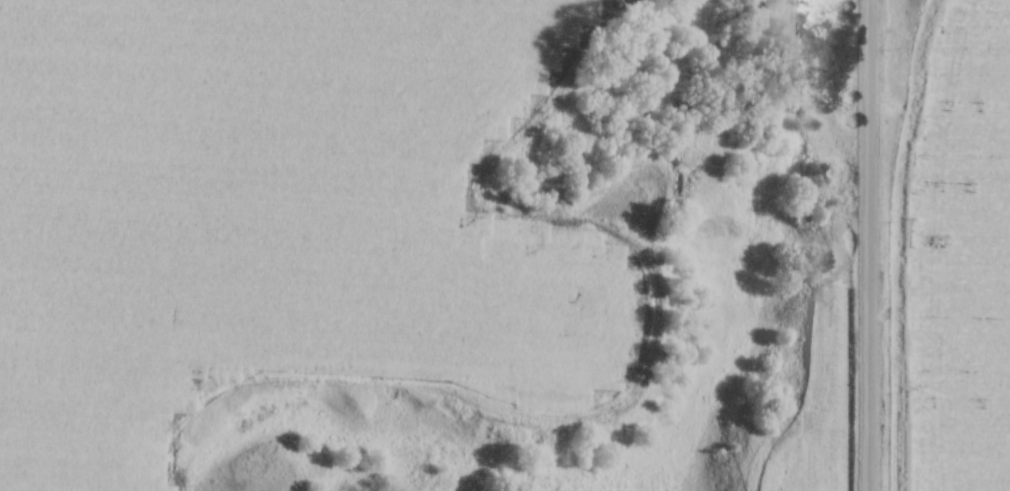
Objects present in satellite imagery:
road: (870, 245)
crop: (949, 255)

